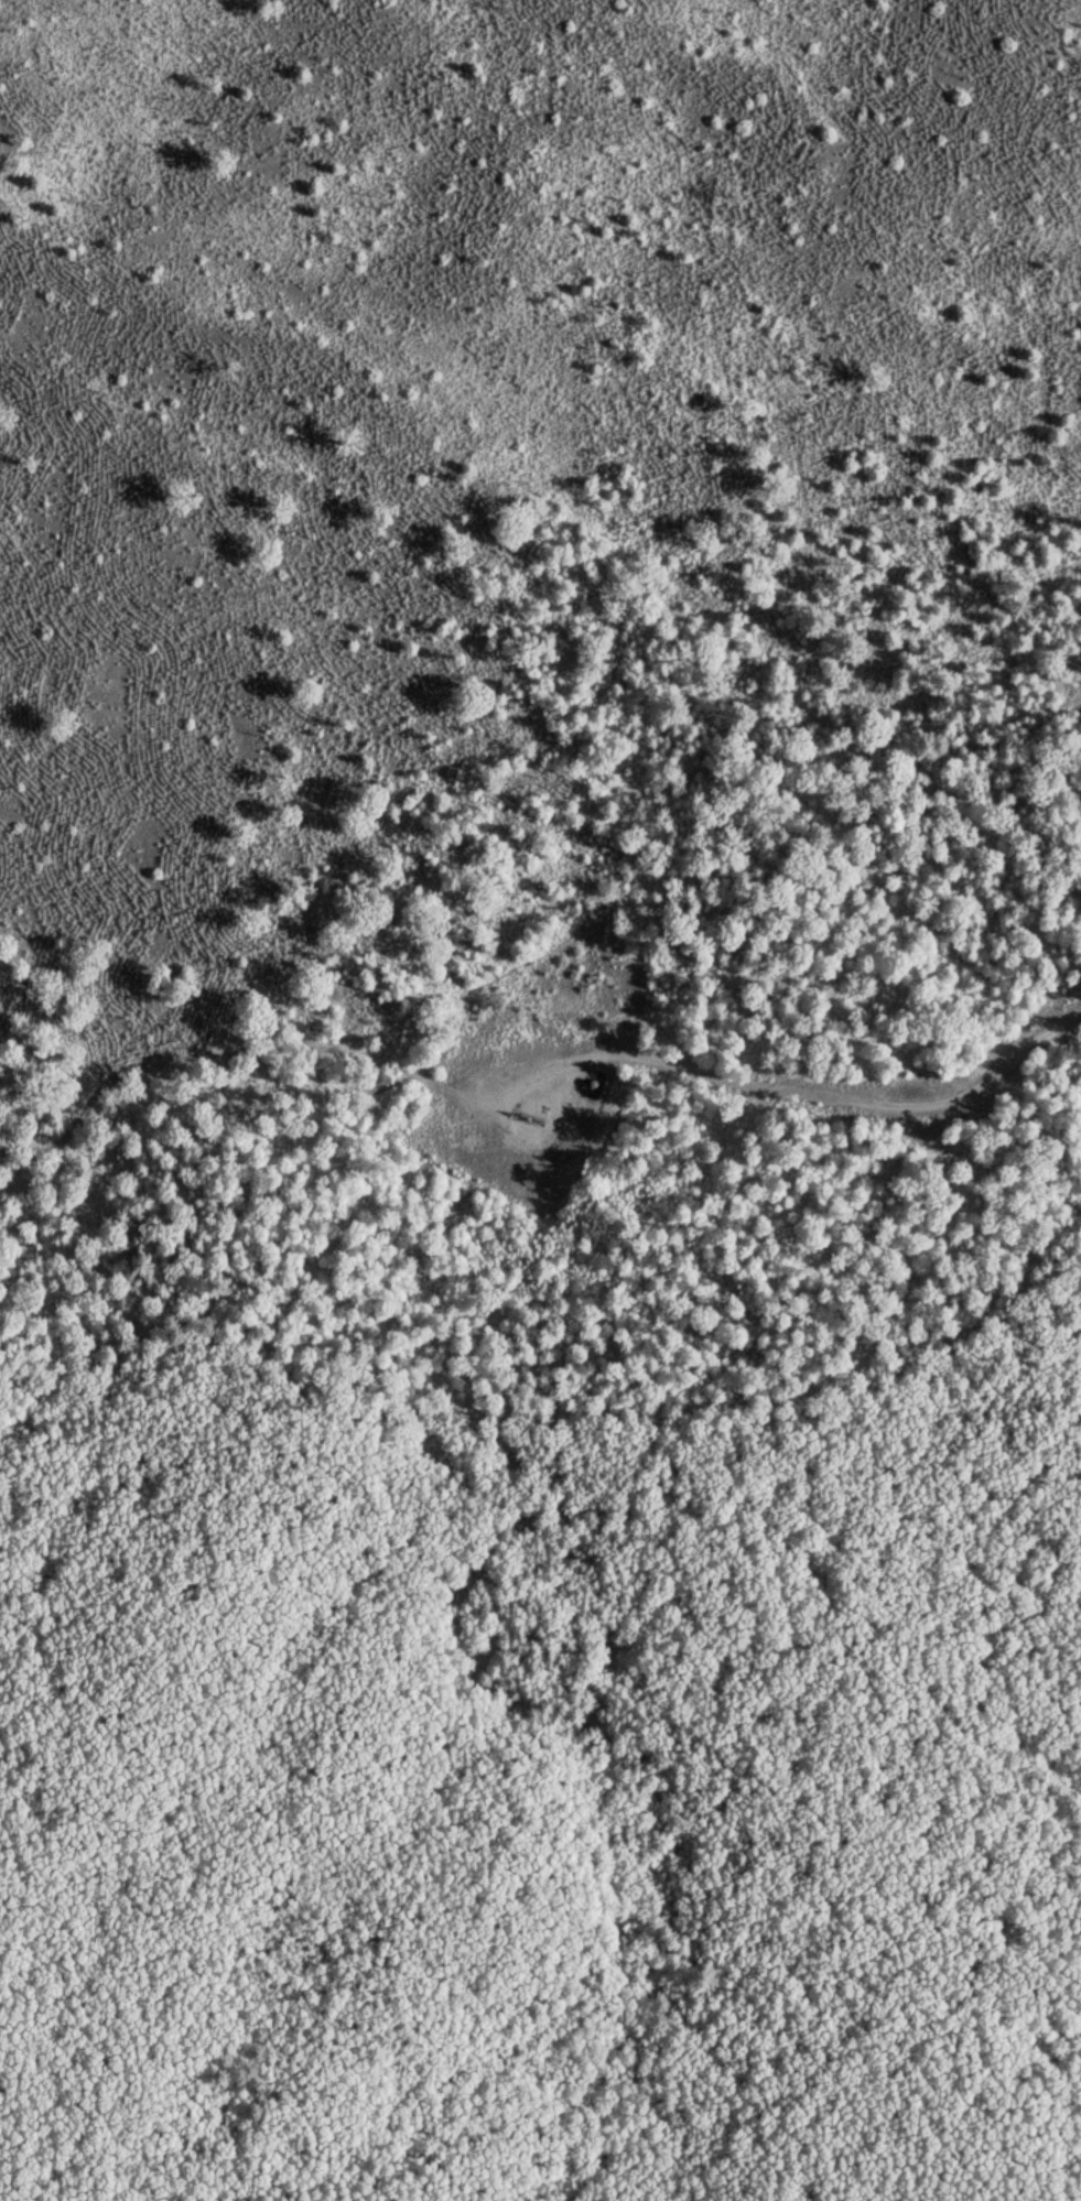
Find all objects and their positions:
road: (817, 1088)
petroleum well: (527, 1123)

